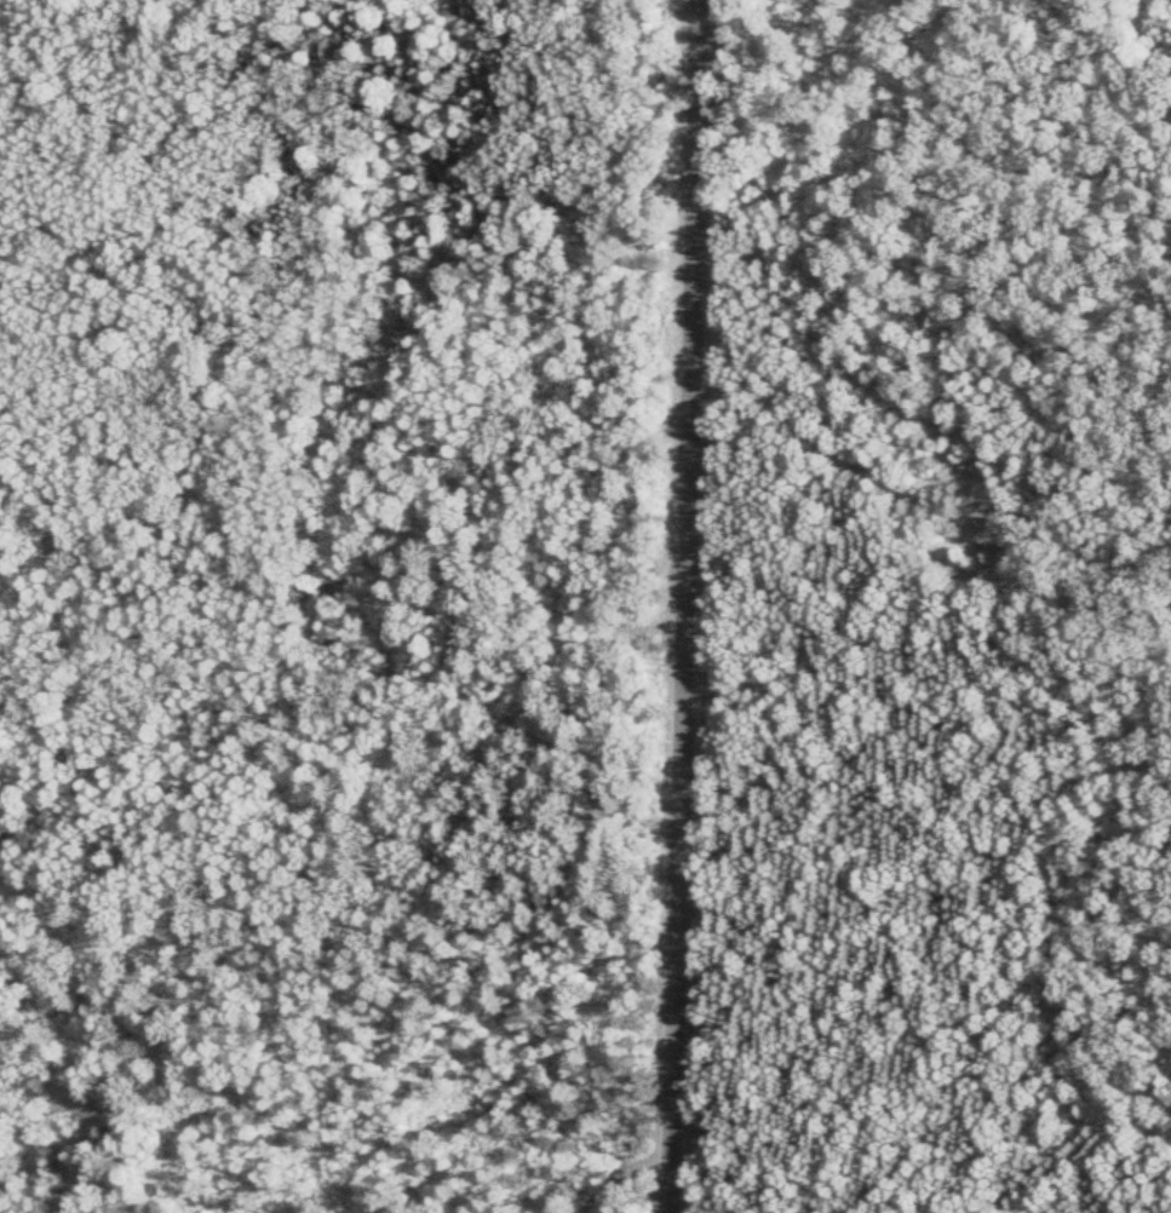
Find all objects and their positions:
road: (673, 606)

